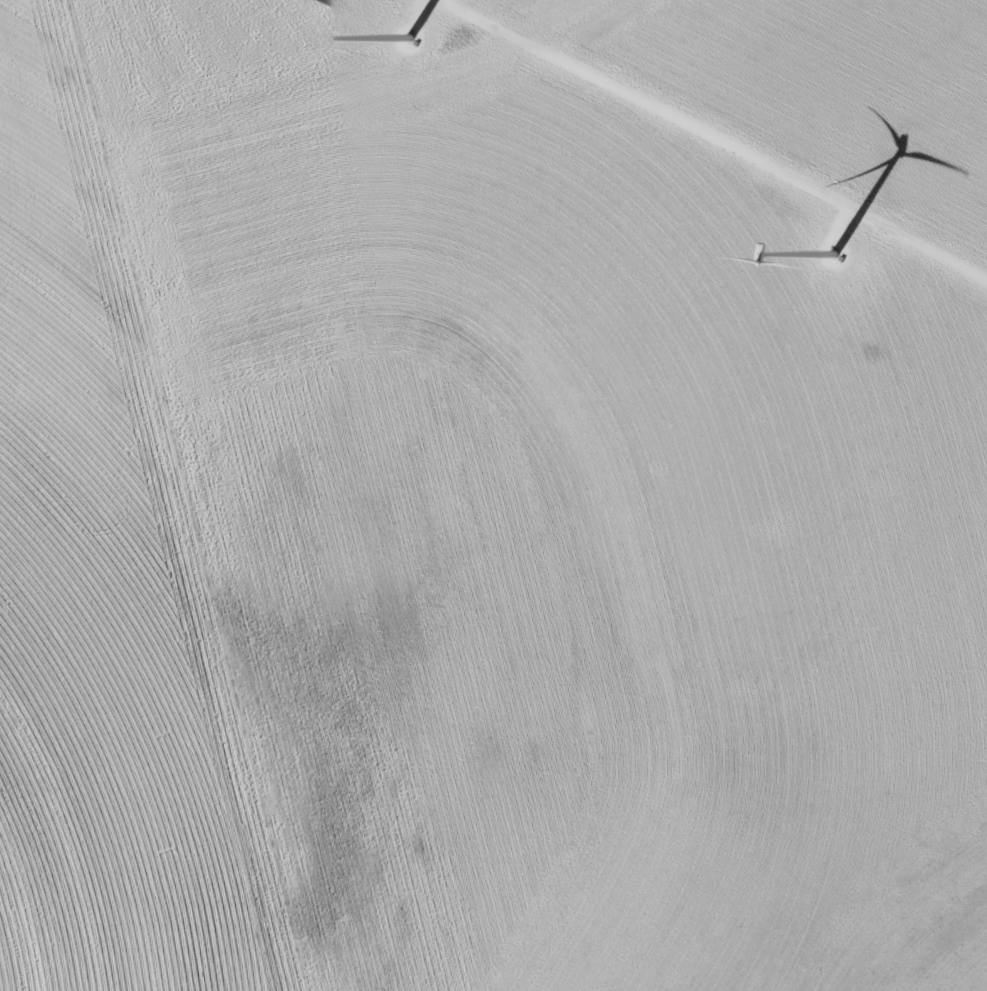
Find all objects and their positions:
wind turbine: (420, 24)
wind turbine: (844, 258)

